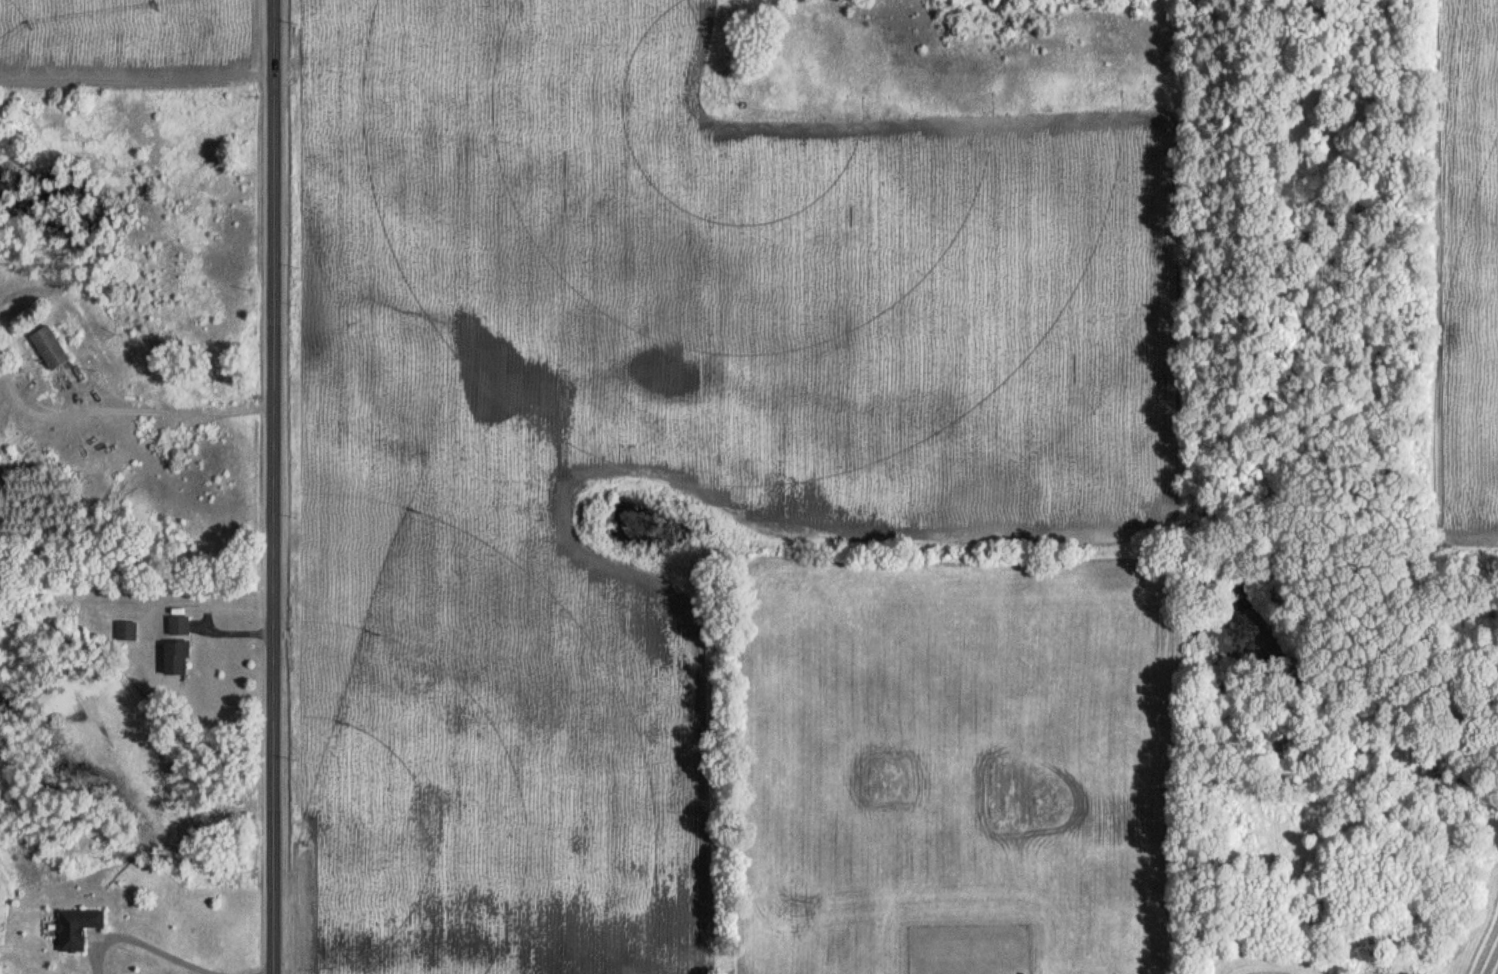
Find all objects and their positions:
building: (47, 348)
building: (16, 457)
road: (272, 486)
building: (178, 626)
building: (125, 632)
building: (174, 659)
building: (75, 928)
road: (167, 954)

